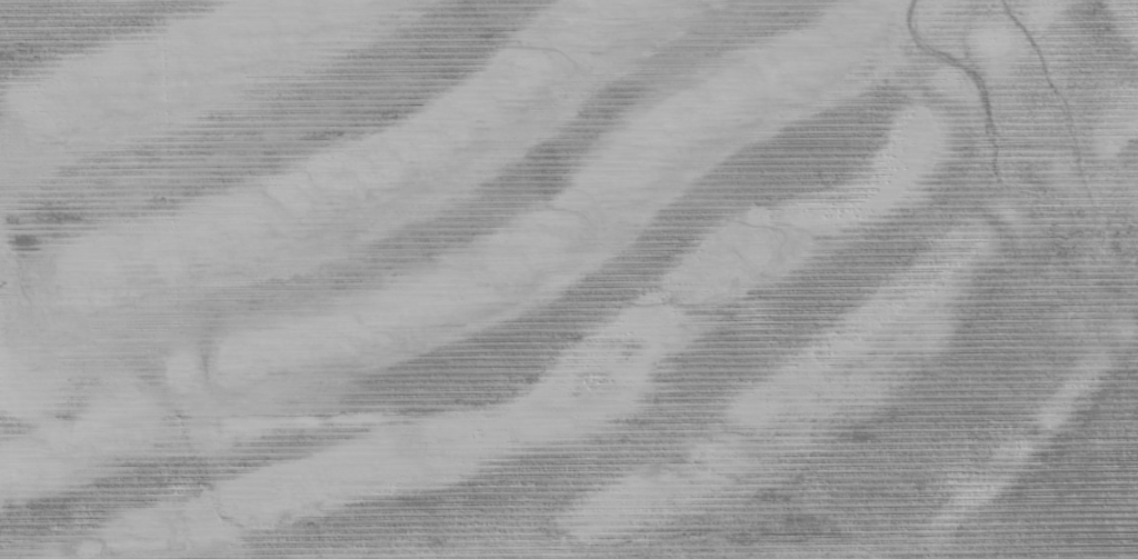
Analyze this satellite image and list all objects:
road: (3, 346)
road: (309, 385)

